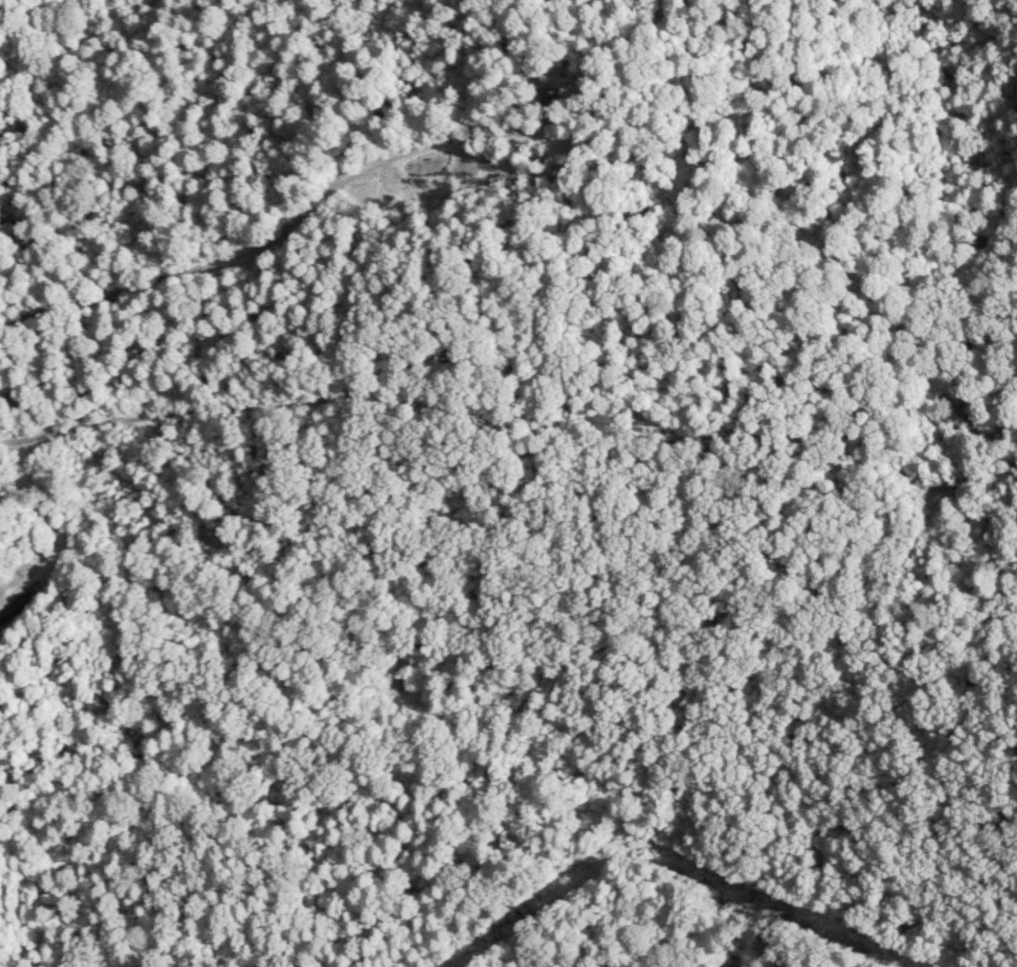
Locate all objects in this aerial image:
road: (963, 496)

